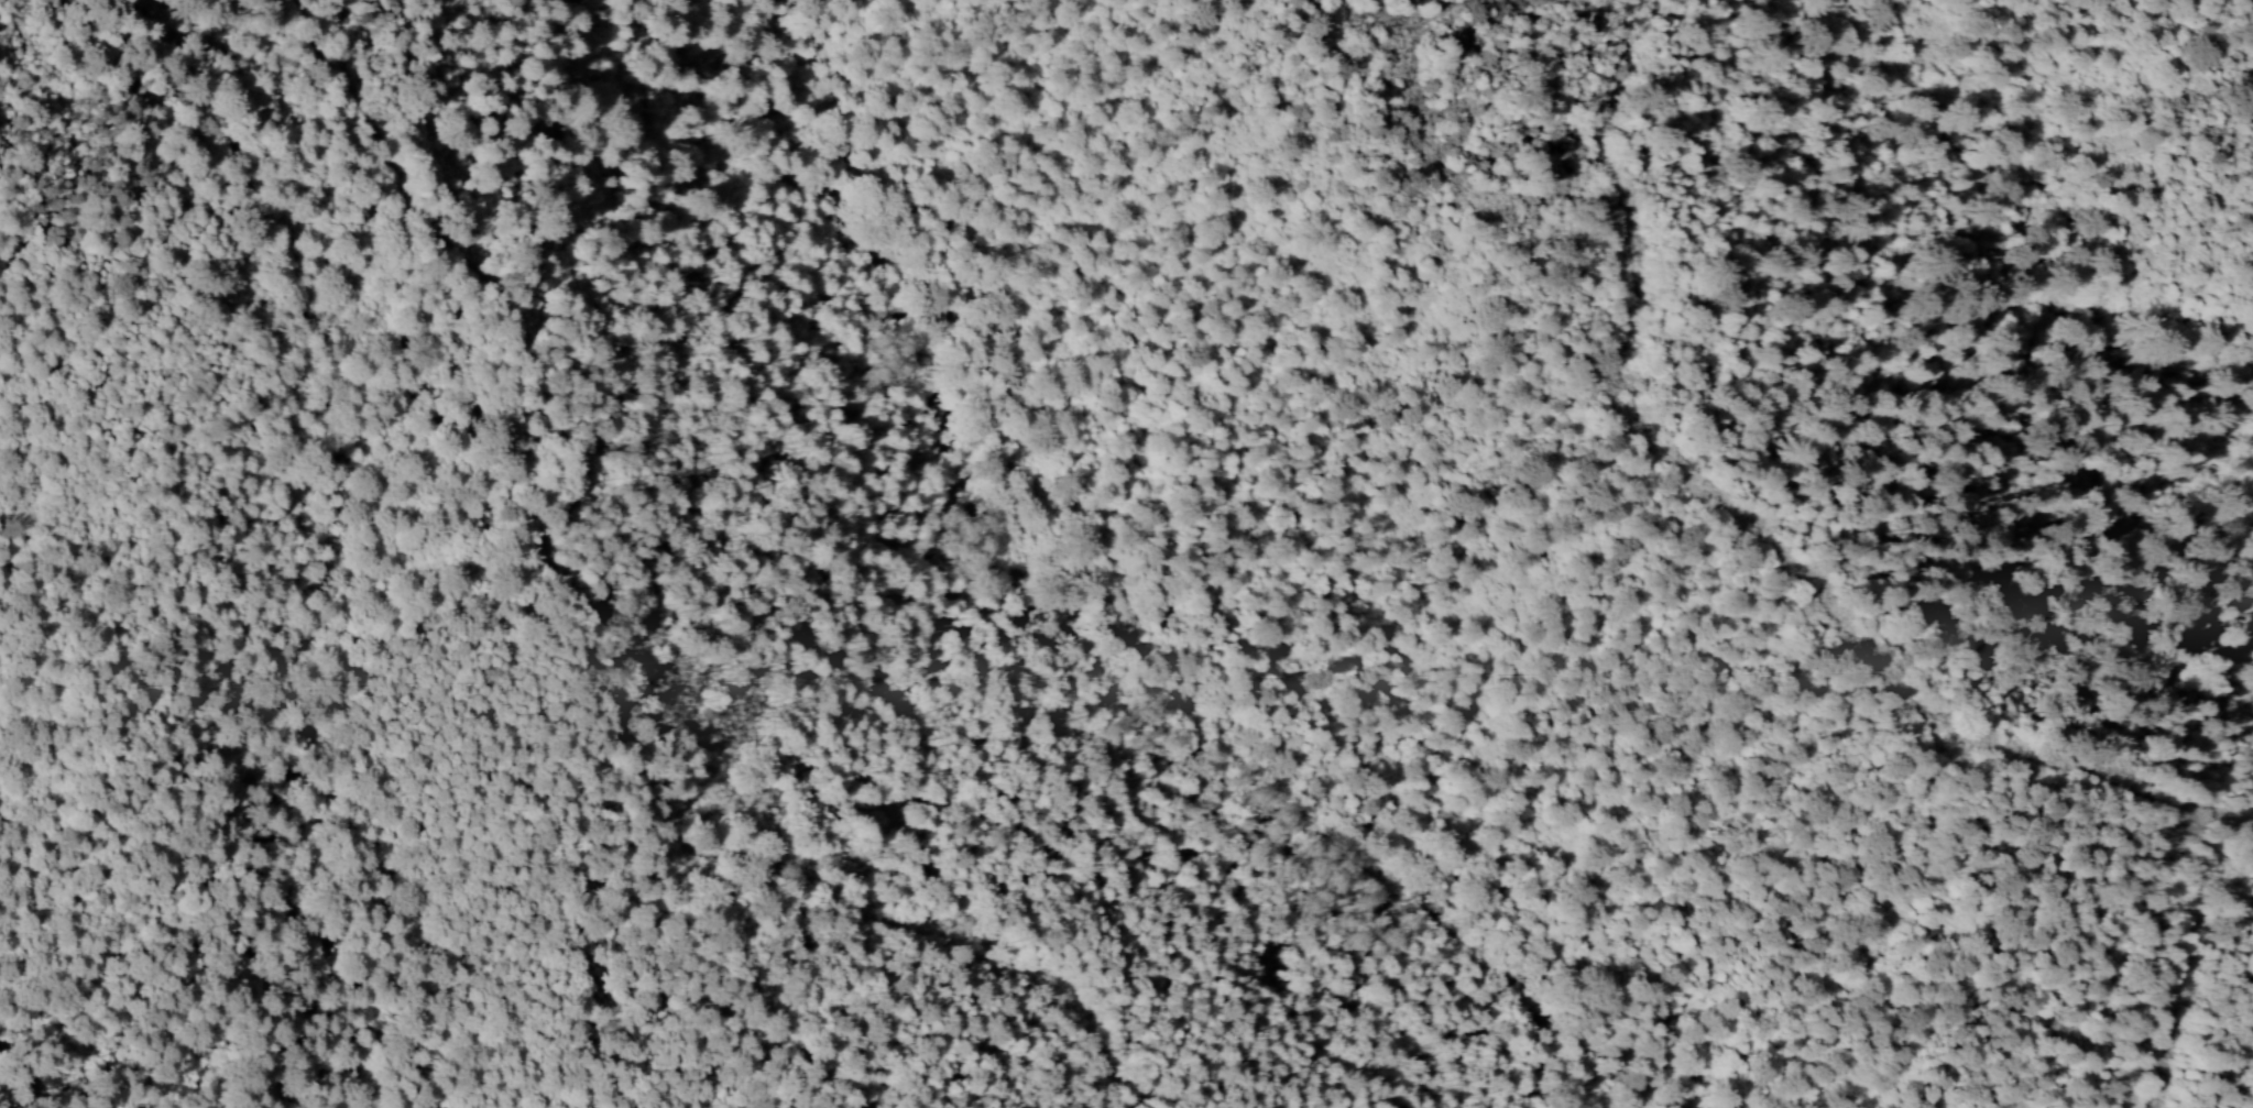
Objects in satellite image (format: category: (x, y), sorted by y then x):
road: (19, 45)
road: (309, 51)
road: (623, 718)

